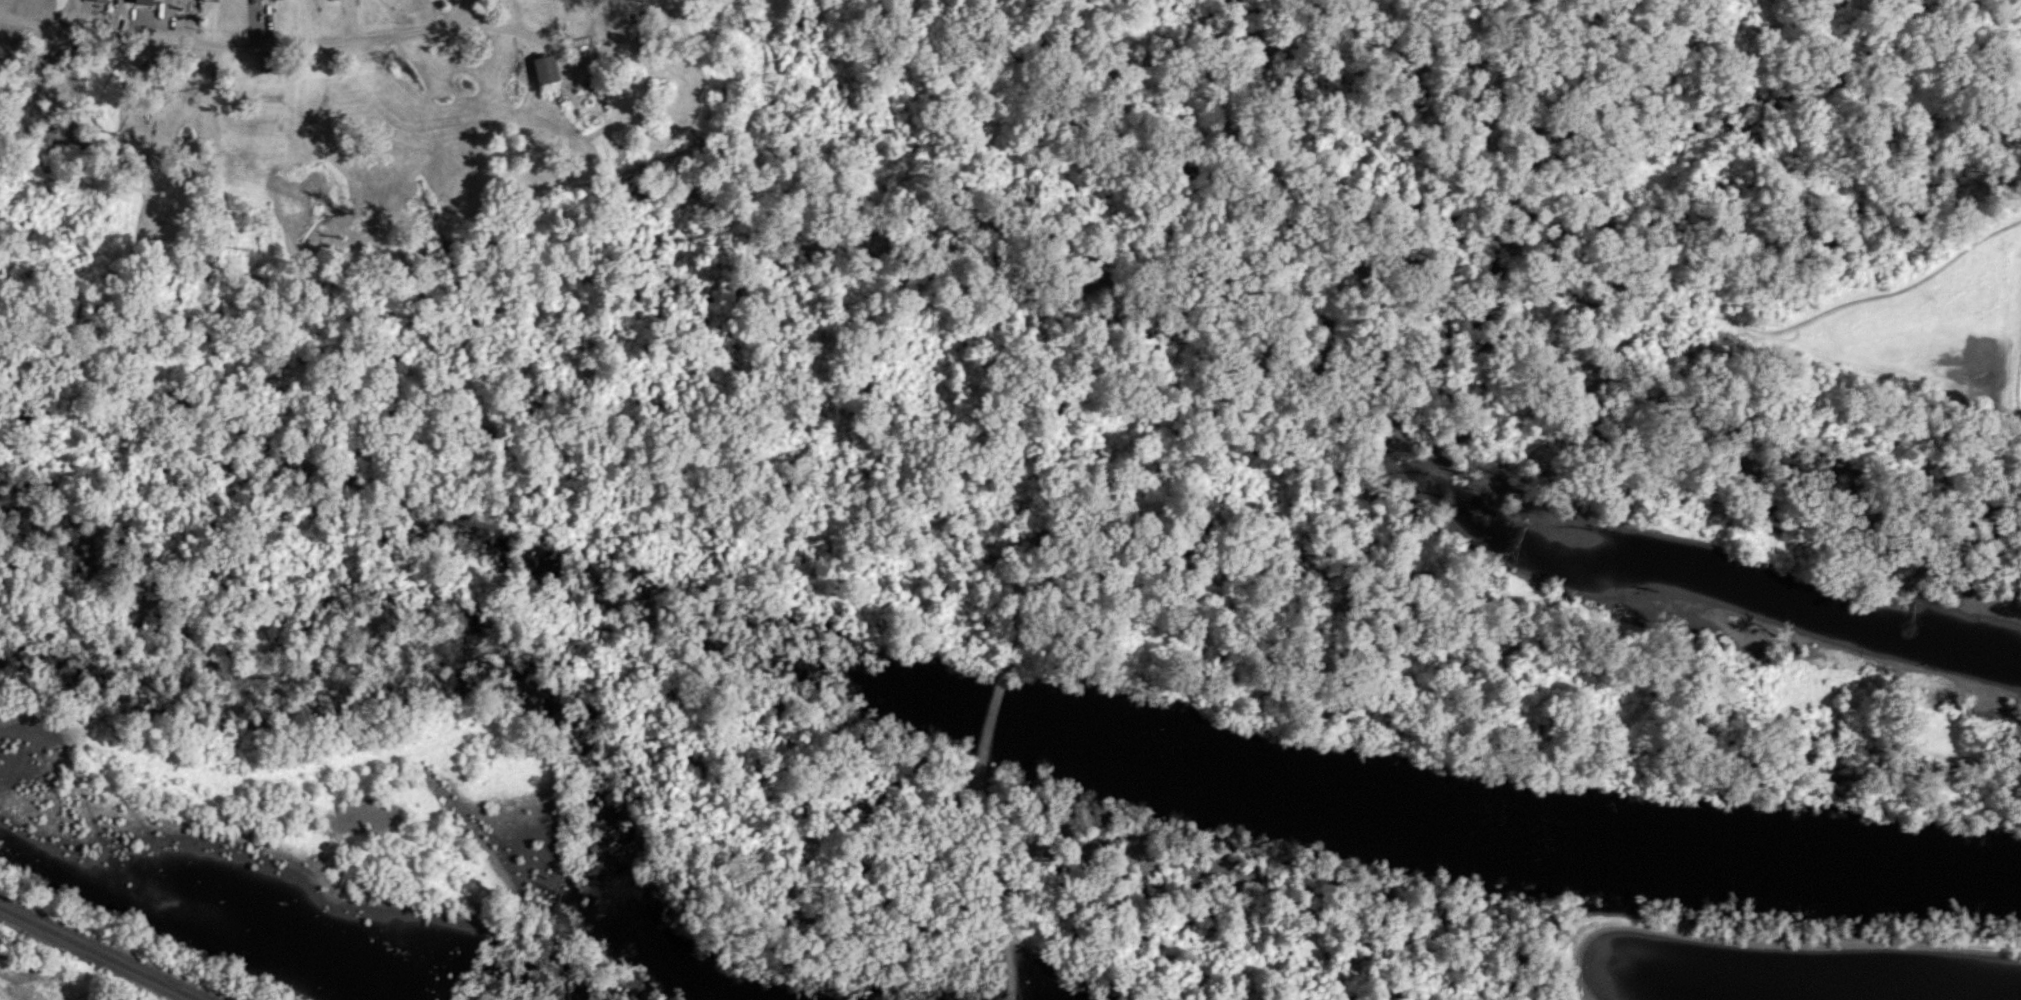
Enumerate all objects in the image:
road: (260, 49)
railway: (98, 954)

